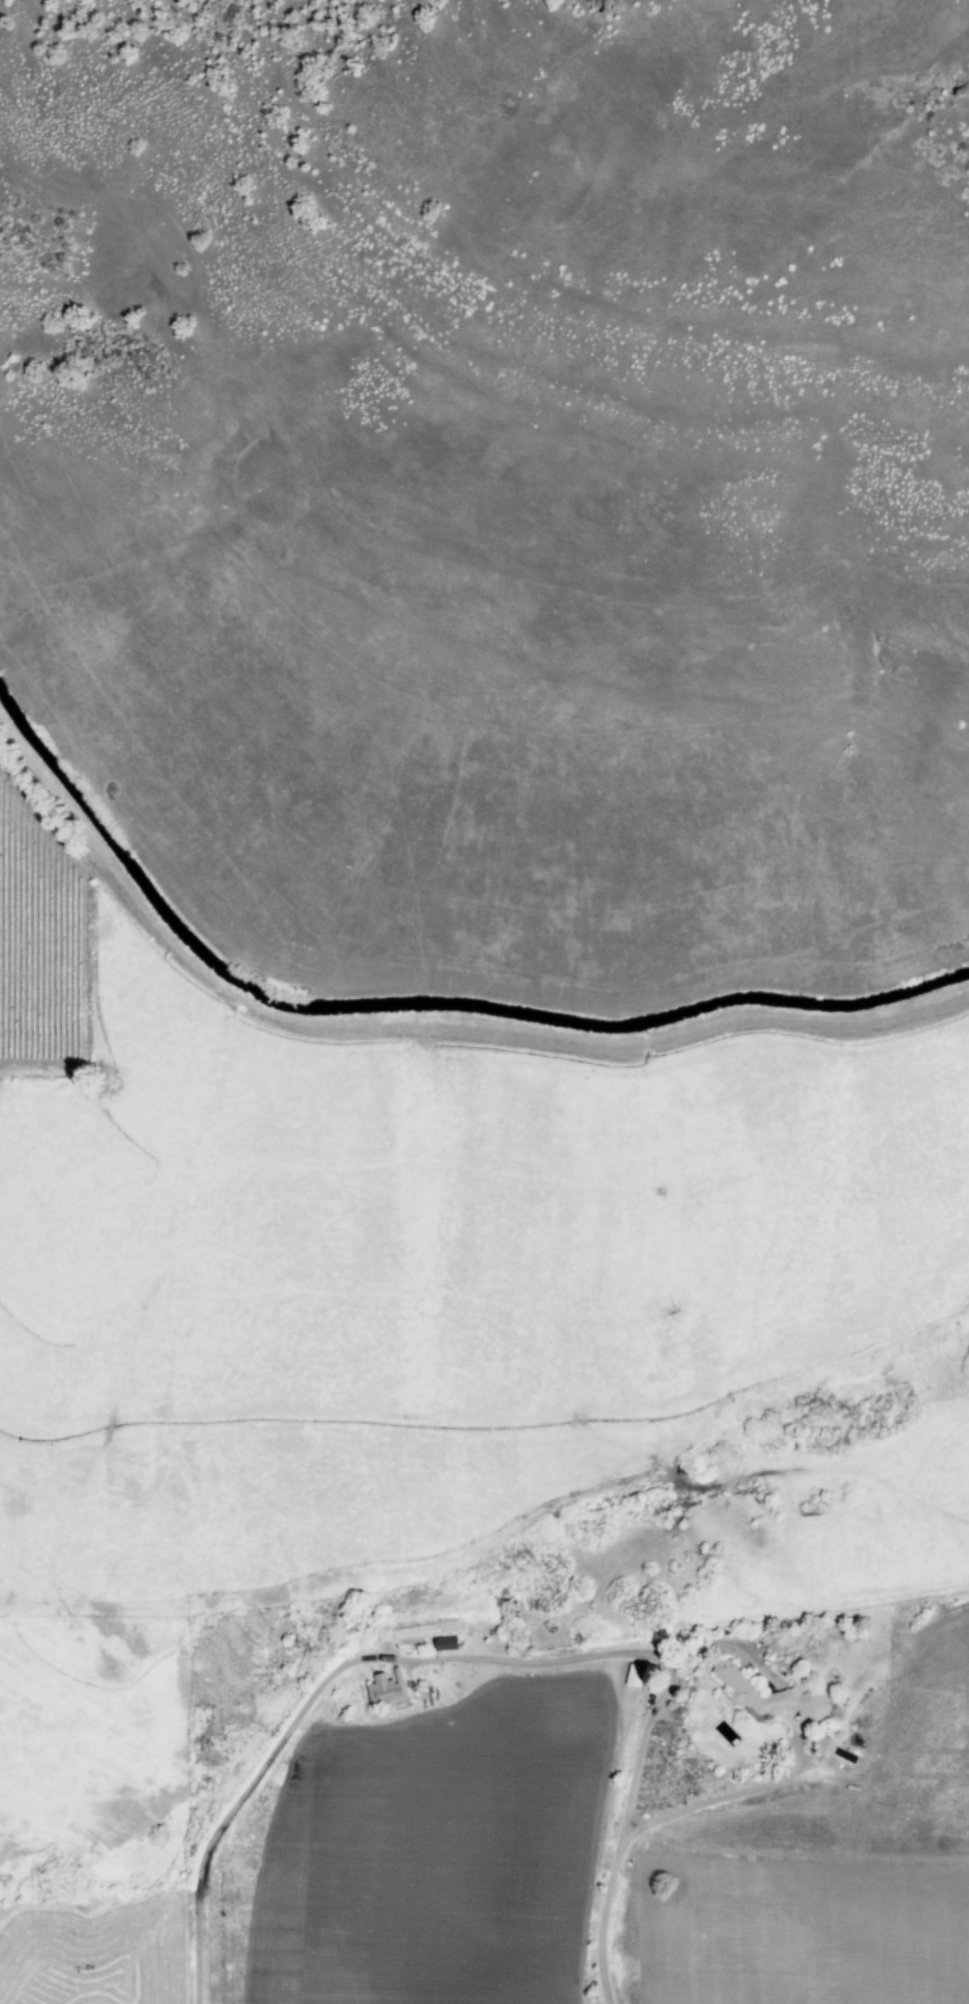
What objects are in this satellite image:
building: (445, 1644)
road: (488, 1657)
building: (386, 1690)
building: (766, 1695)
building: (796, 1719)
road: (725, 1796)
crop: (599, 1858)

